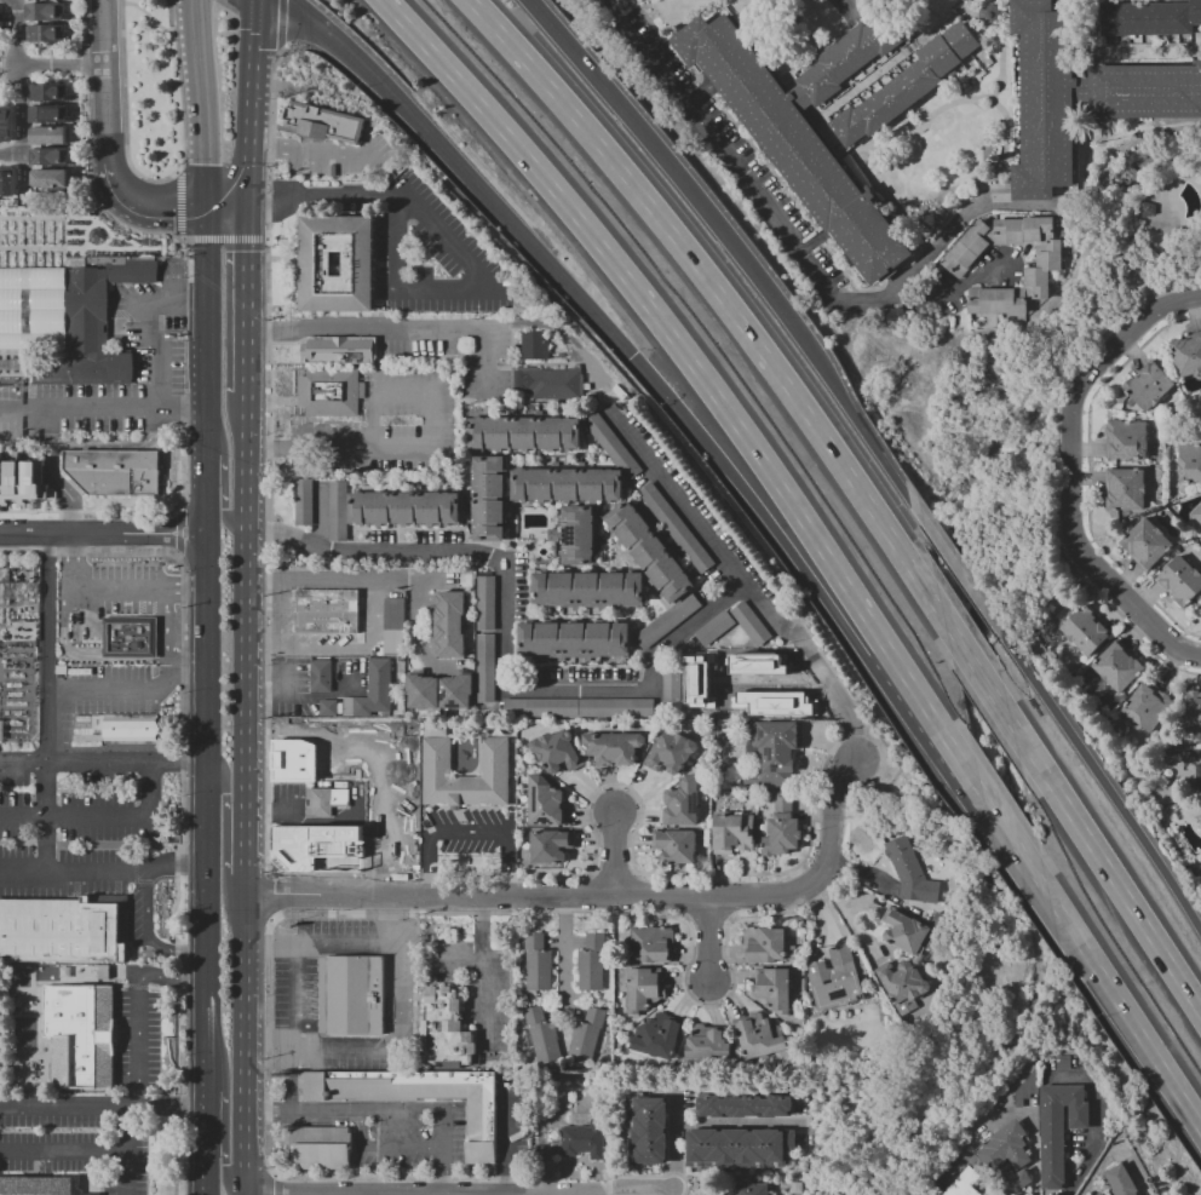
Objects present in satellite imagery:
building: (42, 0)
building: (48, 13)
road: (146, 15)
building: (989, 15)
building: (1150, 18)
road: (278, 23)
road: (81, 27)
road: (16, 33)
building: (48, 35)
road: (281, 50)
building: (845, 59)
road: (57, 64)
road: (79, 64)
road: (102, 81)
road: (179, 86)
building: (907, 86)
building: (1145, 92)
building: (51, 93)
building: (1047, 99)
road: (201, 103)
road: (249, 104)
road: (122, 110)
building: (52, 116)
road: (21, 121)
building: (322, 122)
building: (7, 126)
building: (54, 137)
building: (794, 144)
road: (310, 151)
parking lot: (339, 155)
building: (53, 159)
road: (677, 170)
road: (462, 172)
building: (53, 180)
building: (11, 183)
road: (88, 184)
road: (144, 205)
road: (178, 205)
traffic signals: (205, 208)
road: (225, 208)
traffic signals: (247, 209)
road: (772, 218)
road: (223, 239)
road: (942, 243)
parking lot: (453, 247)
building: (357, 264)
building: (958, 265)
building: (132, 270)
road: (402, 292)
road: (720, 297)
road: (246, 303)
building: (519, 308)
road: (661, 323)
building: (63, 326)
road: (396, 328)
building: (535, 346)
building: (339, 350)
traffic signals: (628, 356)
building: (1186, 356)
building: (548, 383)
building: (1149, 386)
building: (619, 391)
building: (328, 392)
flagpole: (292, 396)
building: (594, 396)
road: (100, 408)
parking lot: (385, 427)
building: (523, 433)
road: (864, 435)
building: (1126, 439)
building: (613, 444)
road: (418, 448)
road: (270, 455)
building: (1189, 463)
road: (1070, 472)
road: (1088, 472)
road: (53, 473)
building: (117, 473)
road: (223, 473)
building: (23, 482)
building: (567, 484)
building: (1125, 488)
building: (488, 500)
building: (303, 502)
building: (403, 509)
building: (338, 511)
building: (1197, 515)
road: (765, 519)
road: (179, 521)
building: (676, 527)
road: (79, 534)
building: (577, 535)
road: (180, 544)
building: (1147, 545)
building: (648, 551)
road: (952, 564)
road: (259, 580)
road: (355, 581)
road: (395, 581)
building: (1180, 581)
building: (587, 588)
road: (90, 590)
building: (21, 592)
road: (182, 593)
building: (485, 603)
building: (1050, 607)
building: (324, 611)
road: (275, 614)
building: (666, 621)
building: (751, 624)
road: (162, 625)
building: (450, 625)
building: (393, 627)
building: (714, 628)
building: (1085, 630)
road: (1133, 632)
road: (419, 636)
building: (126, 637)
building: (574, 639)
road: (260, 647)
road: (322, 647)
road: (183, 656)
road: (80, 657)
building: (755, 663)
road: (814, 663)
building: (1117, 667)
building: (485, 668)
road: (975, 668)
building: (321, 676)
building: (695, 680)
road: (775, 682)
building: (672, 683)
road: (567, 689)
road: (130, 690)
building: (372, 691)
building: (421, 693)
building: (456, 693)
rooftop solar panel: (443, 695)
road: (299, 697)
road: (203, 701)
building: (774, 702)
road: (46, 703)
rooftop solar panel: (450, 705)
building: (1148, 706)
building: (579, 707)
building: (328, 708)
building: (1191, 712)
road: (852, 728)
building: (117, 729)
building: (2, 731)
road: (942, 735)
building: (613, 747)
road: (271, 752)
building: (557, 752)
building: (670, 752)
building: (774, 752)
building: (495, 757)
road: (76, 759)
road: (178, 760)
road: (878, 771)
road: (1094, 771)
building: (1197, 775)
road: (178, 788)
road: (243, 795)
building: (324, 800)
rooftop solar panel: (534, 800)
building: (545, 803)
building: (682, 803)
rooftop solar panel: (694, 803)
road: (105, 818)
road: (301, 820)
building: (1199, 820)
rooftop solar panel: (544, 821)
road: (226, 825)
building: (781, 828)
building: (731, 832)
road: (470, 833)
road: (1012, 843)
building: (550, 845)
building: (677, 846)
road: (614, 854)
road: (1104, 866)
road: (340, 868)
road: (102, 872)
building: (910, 872)
road: (502, 874)
road: (679, 874)
road: (591, 891)
road: (598, 896)
road: (730, 896)
road: (686, 897)
road: (435, 913)
road: (386, 920)
building: (943, 923)
building: (904, 931)
building: (62, 932)
road: (144, 936)
road: (709, 938)
building: (651, 944)
building: (768, 944)
road: (269, 946)
road: (398, 946)
road: (565, 952)
building: (538, 963)
building: (591, 963)
road: (458, 964)
road: (484, 970)
road: (682, 979)
building: (835, 979)
building: (902, 982)
building: (643, 989)
building: (772, 989)
rooftop solar panel: (837, 994)
building: (351, 995)
road: (138, 1011)
road: (1124, 1012)
building: (444, 1032)
building: (586, 1035)
building: (657, 1035)
building: (84, 1036)
road: (269, 1036)
building: (541, 1036)
building: (760, 1036)
building: (708, 1042)
building: (616, 1047)
building: (1063, 1062)
building: (501, 1065)
road: (291, 1075)
building: (564, 1076)
building: (1027, 1087)
building: (418, 1097)
building: (743, 1105)
road: (102, 1107)
road: (295, 1110)
road: (395, 1110)
road: (266, 1116)
road: (225, 1118)
road: (737, 1124)
building: (822, 1125)
road: (123, 1128)
building: (648, 1130)
building: (1058, 1130)
parking lot: (406, 1134)
building: (582, 1141)
building: (740, 1147)
building: (321, 1148)
road: (1034, 1148)
road: (1091, 1150)
road: (84, 1151)
road: (441, 1153)
building: (838, 1156)
building: (1006, 1157)
road: (674, 1180)
building: (1121, 1180)
building: (964, 1183)
road: (278, 1185)
building: (39, 1187)
building: (798, 1188)
building: (754, 1189)
building: (1098, 1194)
building: (1102, 1194)

